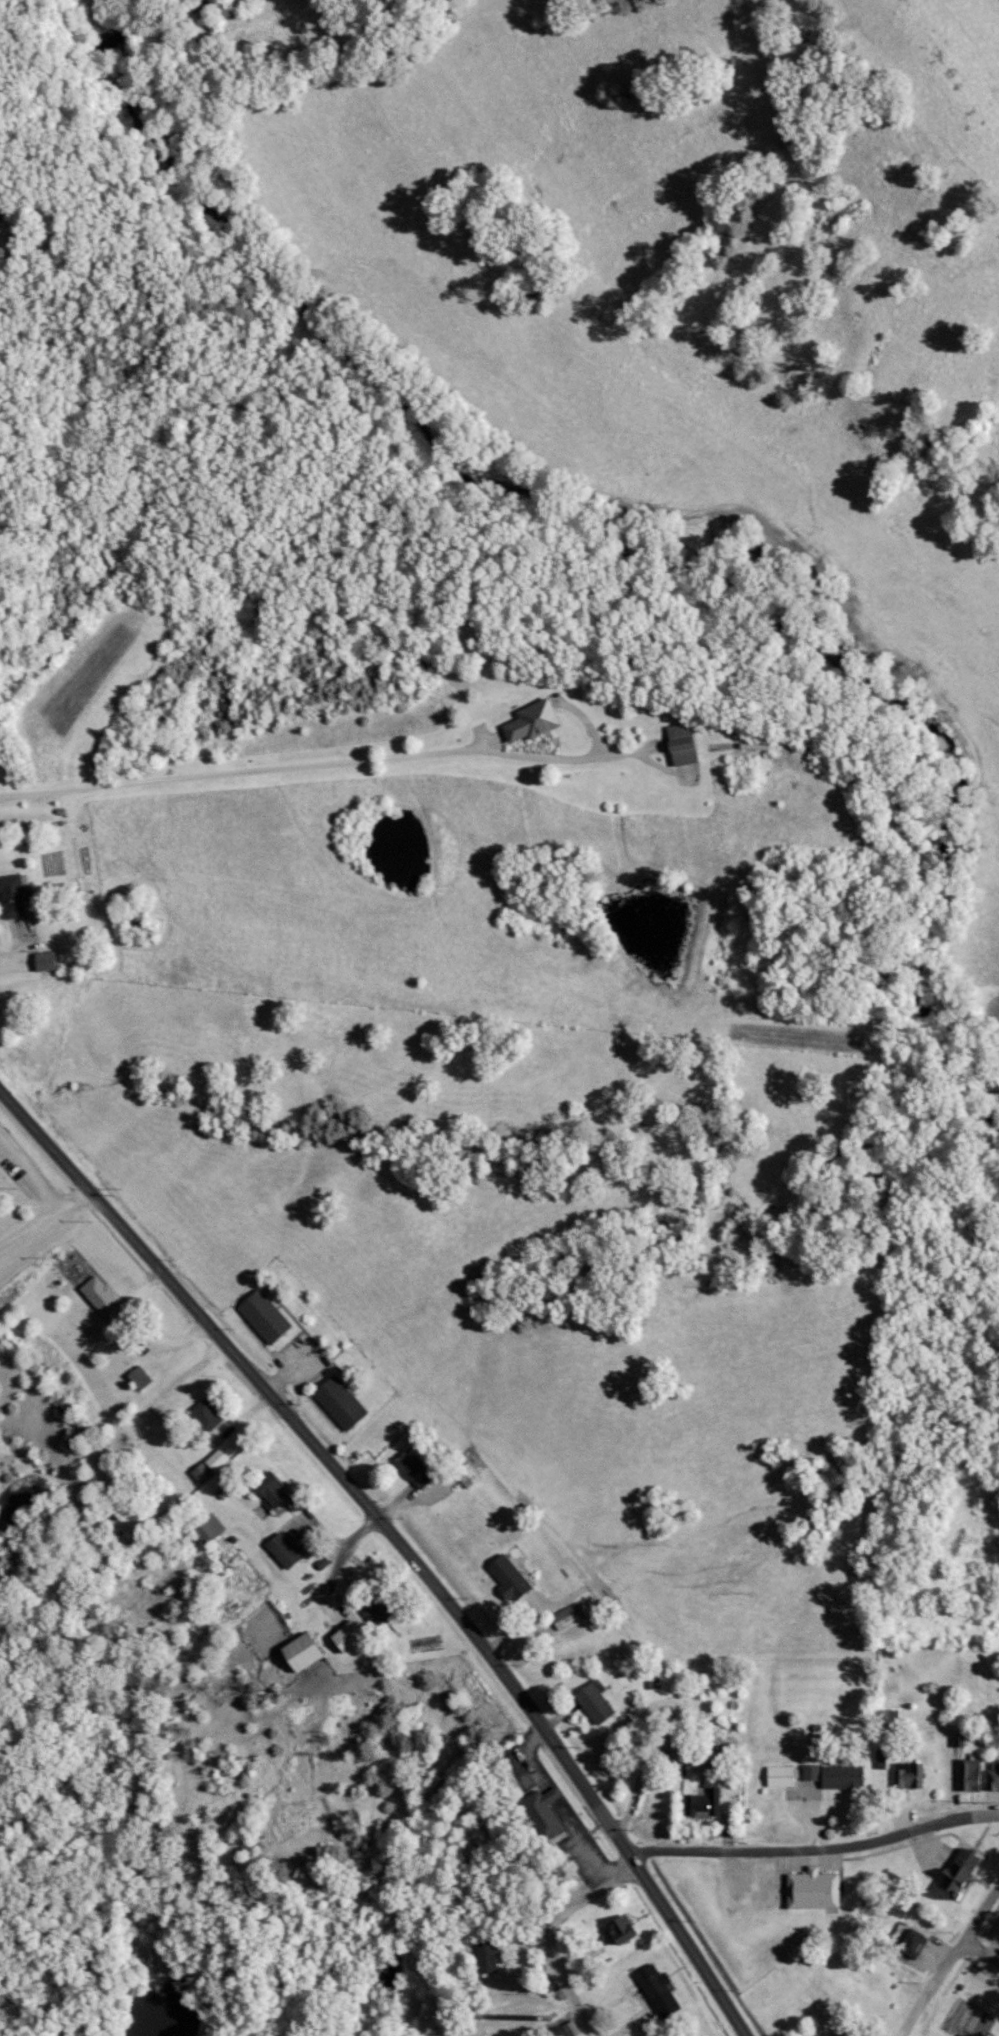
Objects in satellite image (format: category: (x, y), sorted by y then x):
building: (2, 207)
building: (526, 723)
building: (676, 745)
road: (316, 758)
building: (10, 896)
building: (40, 961)
road: (48, 1216)
building: (97, 1298)
building: (260, 1316)
building: (135, 1379)
building: (335, 1403)
building: (200, 1416)
road: (325, 1454)
building: (206, 1466)
building: (408, 1466)
building: (463, 1476)
building: (266, 1490)
building: (202, 1528)
building: (278, 1550)
building: (506, 1578)
building: (294, 1653)
building: (591, 1702)
building: (832, 1775)
building: (966, 1775)
building: (906, 1776)
building: (991, 1776)
building: (776, 1777)
building: (701, 1804)
building: (538, 1812)
road: (814, 1847)
building: (954, 1874)
building: (808, 1890)
building: (616, 1930)
road: (550, 1934)
road: (694, 1939)
road: (949, 1955)
building: (484, 1957)
road: (977, 1957)
road: (525, 1962)
building: (651, 1990)
building: (568, 2029)

